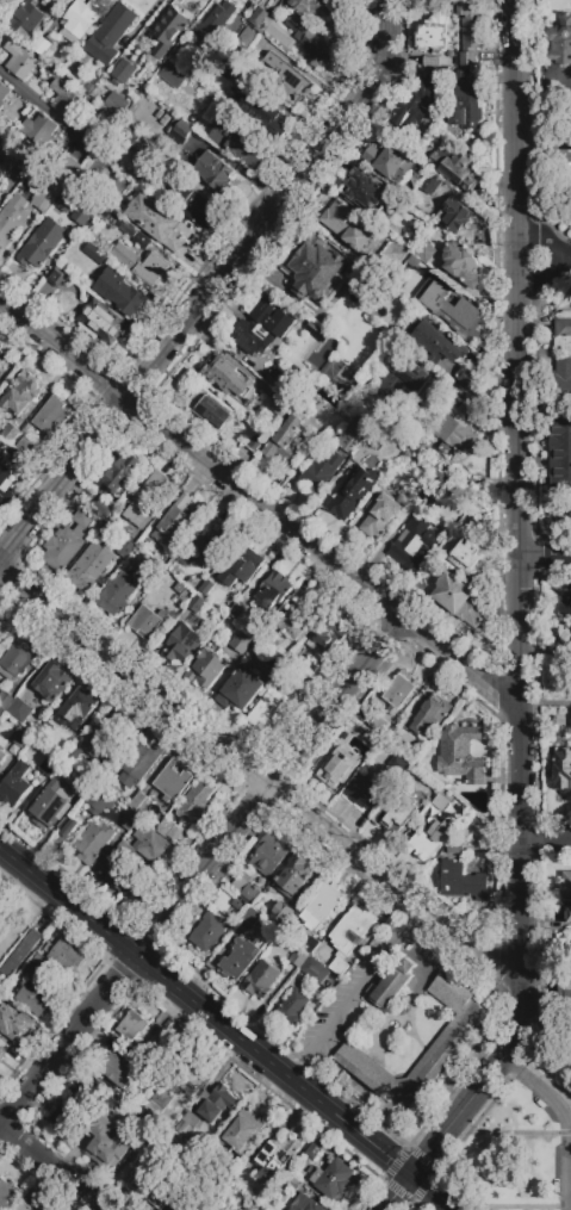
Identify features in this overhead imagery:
building: (327, 12)
building: (32, 15)
building: (257, 17)
building: (80, 20)
building: (216, 23)
building: (168, 30)
building: (433, 32)
building: (467, 33)
building: (110, 35)
building: (246, 41)
building: (560, 42)
building: (314, 43)
building: (42, 48)
building: (19, 61)
building: (432, 62)
building: (225, 67)
building: (123, 72)
building: (172, 76)
building: (287, 80)
building: (2, 94)
building: (66, 100)
road: (37, 101)
building: (415, 101)
building: (117, 103)
building: (464, 104)
building: (257, 111)
road: (544, 117)
building: (105, 118)
building: (193, 119)
building: (39, 130)
building: (180, 138)
building: (126, 139)
building: (0, 143)
building: (240, 144)
building: (30, 160)
building: (389, 161)
building: (454, 165)
building: (69, 168)
building: (564, 168)
building: (215, 173)
building: (1, 184)
building: (432, 186)
building: (367, 188)
building: (49, 191)
building: (0, 194)
building: (64, 203)
building: (198, 210)
building: (85, 211)
building: (454, 215)
building: (12, 221)
building: (155, 222)
building: (347, 225)
building: (125, 229)
building: (402, 236)
road: (546, 236)
building: (198, 242)
building: (42, 243)
building: (426, 253)
building: (393, 254)
building: (95, 255)
road: (566, 259)
building: (142, 266)
building: (463, 267)
building: (315, 269)
building: (421, 274)
building: (57, 279)
road: (546, 281)
road: (213, 287)
building: (119, 292)
building: (453, 310)
building: (104, 324)
building: (262, 324)
building: (329, 327)
building: (563, 330)
building: (317, 334)
building: (441, 340)
building: (1, 356)
building: (224, 376)
building: (467, 377)
building: (405, 380)
building: (279, 381)
building: (561, 386)
building: (21, 393)
building: (280, 405)
building: (213, 415)
building: (51, 417)
building: (322, 426)
building: (458, 428)
building: (8, 433)
building: (354, 435)
building: (286, 440)
building: (255, 441)
building: (24, 443)
building: (325, 443)
building: (0, 451)
building: (561, 453)
building: (19, 463)
building: (323, 472)
building: (122, 474)
building: (4, 476)
building: (432, 491)
building: (352, 494)
building: (148, 499)
building: (4, 502)
building: (98, 503)
road: (259, 503)
building: (377, 514)
building: (176, 521)
building: (213, 536)
building: (67, 541)
building: (412, 542)
building: (125, 550)
building: (467, 553)
road: (546, 561)
building: (89, 566)
building: (241, 567)
building: (175, 569)
building: (430, 576)
building: (154, 578)
building: (205, 588)
building: (274, 590)
building: (182, 595)
building: (118, 597)
building: (458, 601)
road: (521, 603)
building: (197, 604)
building: (565, 606)
building: (236, 612)
building: (300, 621)
building: (148, 625)
building: (5, 632)
building: (565, 633)
building: (328, 638)
building: (268, 641)
building: (182, 644)
building: (240, 644)
building: (18, 657)
building: (206, 670)
building: (309, 672)
building: (54, 681)
building: (569, 684)
building: (238, 690)
building: (398, 691)
building: (5, 700)
road: (546, 705)
building: (79, 708)
building: (19, 709)
building: (1, 711)
building: (267, 712)
building: (430, 715)
building: (567, 719)
building: (378, 724)
building: (50, 730)
building: (404, 732)
building: (20, 737)
building: (107, 737)
building: (371, 739)
building: (459, 753)
building: (1, 756)
building: (141, 761)
building: (48, 767)
building: (396, 769)
building: (336, 770)
building: (563, 774)
road: (257, 778)
building: (172, 782)
building: (15, 784)
building: (83, 784)
road: (272, 784)
building: (108, 786)
building: (362, 792)
building: (99, 801)
building: (137, 801)
building: (213, 801)
building: (193, 806)
building: (49, 807)
building: (396, 812)
building: (129, 820)
building: (166, 826)
building: (68, 827)
building: (432, 837)
building: (93, 842)
road: (546, 842)
building: (145, 844)
building: (453, 849)
building: (267, 855)
building: (99, 860)
building: (122, 876)
building: (294, 877)
building: (460, 882)
building: (566, 885)
building: (246, 891)
building: (235, 905)
building: (322, 906)
building: (280, 914)
building: (569, 916)
building: (253, 922)
building: (207, 932)
building: (340, 941)
building: (311, 945)
building: (21, 951)
building: (64, 956)
building: (241, 957)
building: (297, 958)
road: (145, 960)
building: (41, 961)
building: (311, 968)
building: (32, 972)
building: (261, 980)
building: (391, 985)
building: (565, 991)
road: (356, 992)
building: (32, 998)
building: (293, 1007)
building: (12, 1018)
building: (131, 1026)
building: (459, 1028)
road: (68, 1042)
building: (1, 1053)
building: (143, 1053)
building: (168, 1056)
building: (118, 1072)
building: (149, 1076)
building: (566, 1076)
building: (185, 1081)
building: (93, 1096)
building: (216, 1103)
building: (162, 1104)
road: (565, 1119)
building: (64, 1121)
building: (188, 1124)
road: (353, 1124)
building: (243, 1133)
road: (508, 1133)
building: (99, 1135)
building: (166, 1141)
building: (314, 1149)
building: (277, 1158)
road: (51, 1168)
road: (569, 1169)
traffic signals: (415, 1173)
building: (333, 1179)
building: (136, 1181)
building: (145, 1183)
building: (243, 1184)
road: (377, 1184)
building: (291, 1186)
road: (399, 1191)
road: (437, 1191)
building: (162, 1192)
building: (7, 1195)
road: (420, 1197)
building: (33, 1203)
building: (305, 1203)
building: (252, 1205)
building: (187, 1206)
road: (514, 1206)
building: (212, 1208)

